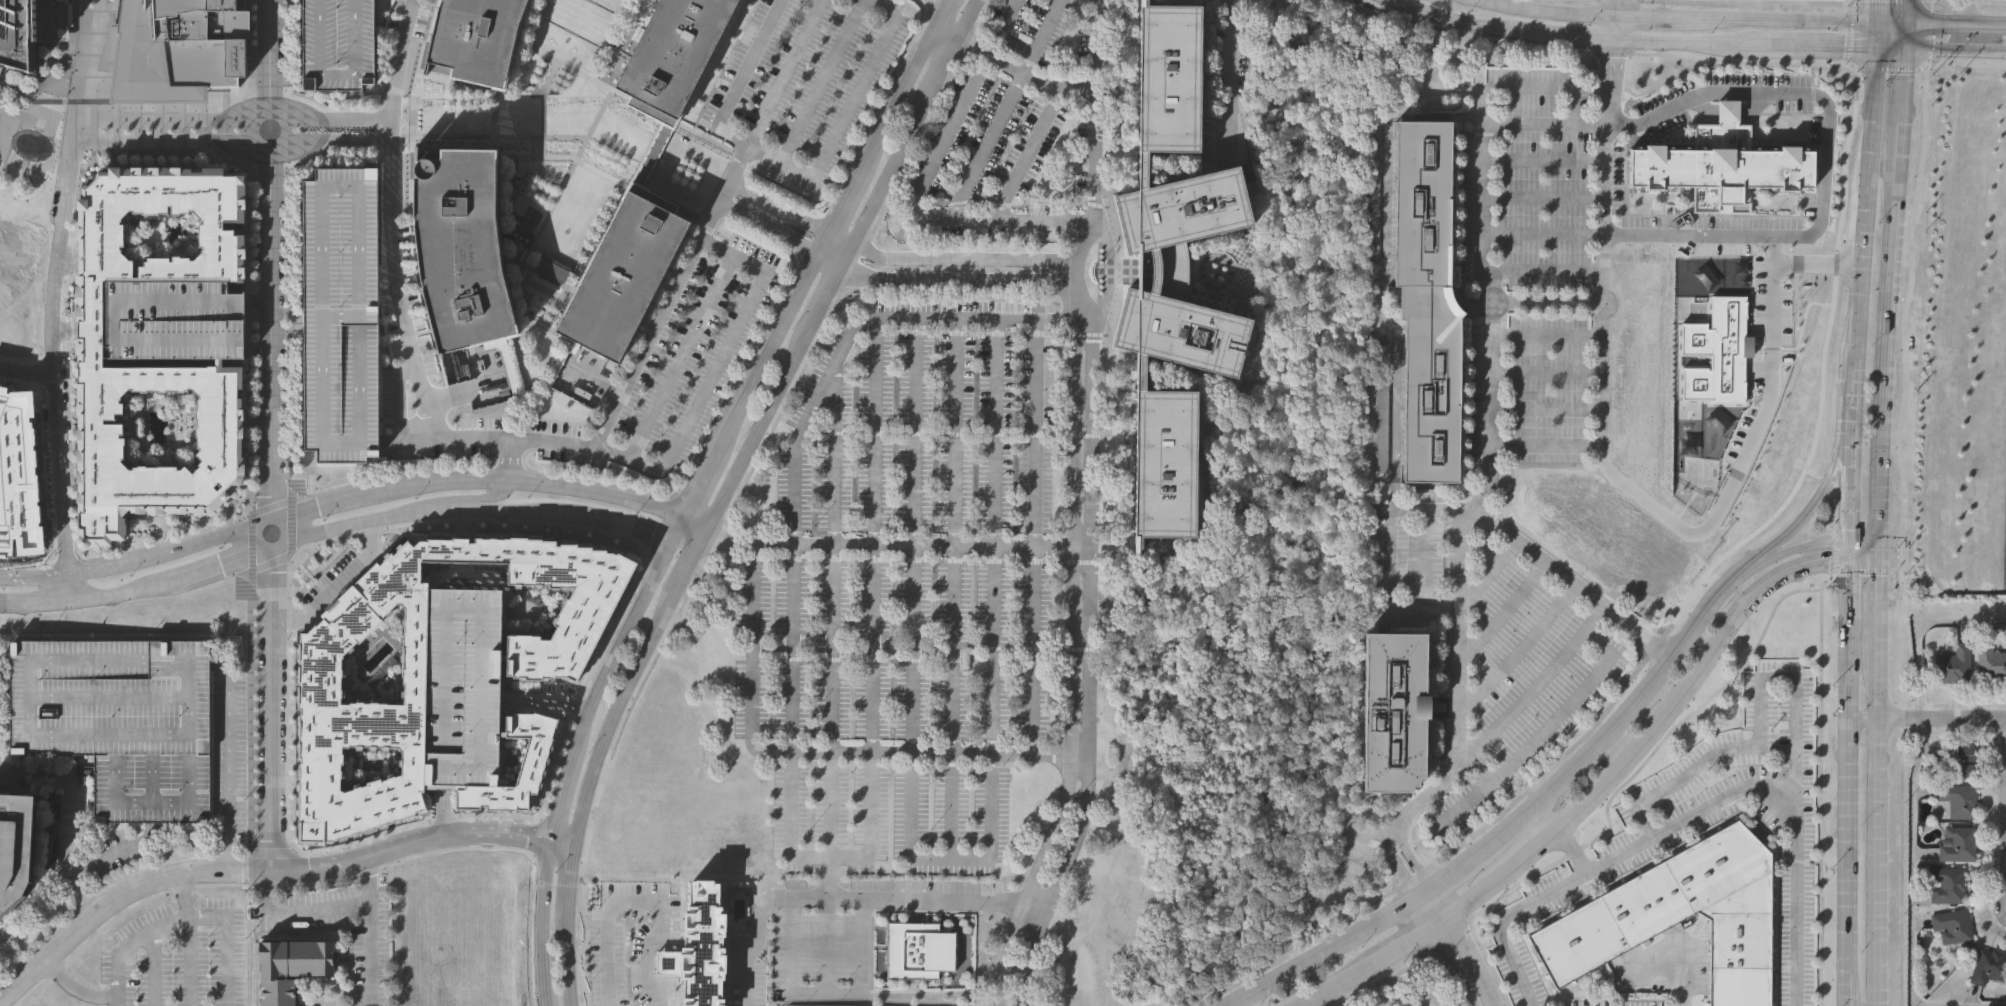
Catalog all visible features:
road: (1923, 1)
road: (939, 2)
road: (945, 2)
road: (1368, 3)
road: (1885, 3)
road: (1739, 4)
road: (620, 6)
road: (1379, 7)
road: (933, 8)
road: (1007, 9)
road: (1542, 10)
road: (1969, 11)
road: (1650, 16)
road: (982, 17)
road: (963, 19)
road: (1047, 20)
road: (1786, 20)
road: (1609, 21)
road: (1624, 21)
road: (948, 22)
road: (1457, 22)
traffic signals: (1877, 23)
traffic signals: (1901, 23)
road: (1941, 23)
road: (1876, 24)
building: (29, 29)
road: (608, 30)
road: (1915, 33)
road: (1853, 35)
building: (473, 38)
road: (522, 38)
road: (1570, 39)
road: (1008, 40)
building: (335, 43)
parking garage: (335, 43)
road: (1674, 43)
road: (1756, 46)
road: (248, 47)
road: (1828, 47)
building: (175, 49)
road: (966, 49)
traffic signals: (1876, 49)
road: (1888, 49)
traffic signals: (1900, 49)
road: (1953, 52)
building: (671, 53)
road: (1028, 56)
road: (1697, 57)
road: (553, 61)
road: (1886, 61)
road: (942, 63)
road: (84, 70)
road: (1021, 72)
road: (1229, 77)
building: (1168, 80)
road: (822, 82)
parking lot: (803, 83)
road: (1612, 85)
road: (396, 91)
road: (266, 94)
road: (294, 95)
road: (474, 96)
road: (40, 100)
road: (878, 114)
road: (236, 118)
road: (947, 128)
road: (540, 129)
road: (285, 130)
parking lot: (1009, 131)
road: (494, 135)
road: (173, 140)
road: (331, 140)
fountain: (31, 144)
road: (984, 144)
road: (251, 148)
road: (914, 152)
road: (1025, 153)
road: (392, 159)
road: (893, 164)
building: (1721, 165)
road: (803, 173)
road: (1605, 182)
road: (630, 187)
road: (1866, 188)
road: (80, 191)
road: (408, 195)
road: (778, 205)
road: (993, 219)
road: (767, 226)
road: (1724, 233)
road: (1543, 234)
road: (813, 235)
road: (841, 236)
building: (460, 248)
building: (1009, 248)
road: (690, 254)
road: (847, 255)
road: (598, 256)
road: (964, 257)
road: (828, 260)
road: (856, 262)
road: (1800, 266)
building: (552, 268)
building: (622, 270)
building: (1182, 270)
road: (397, 273)
road: (959, 279)
road: (288, 281)
road: (1888, 281)
road: (26, 289)
road: (826, 295)
building: (1428, 297)
road: (1542, 300)
road: (259, 304)
building: (340, 314)
parking garage: (340, 314)
building: (174, 320)
parking garage: (174, 320)
road: (852, 326)
road: (418, 331)
road: (1393, 339)
parking lot: (699, 348)
road: (54, 355)
building: (92, 357)
road: (680, 357)
road: (541, 367)
road: (711, 374)
road: (27, 378)
road: (1080, 378)
road: (595, 383)
road: (463, 387)
road: (400, 396)
road: (1481, 396)
road: (784, 406)
road: (518, 417)
road: (731, 417)
road: (513, 422)
road: (758, 428)
road: (272, 436)
road: (415, 438)
road: (704, 442)
building: (1165, 463)
road: (506, 471)
road: (1734, 474)
road: (1826, 474)
road: (385, 478)
road: (519, 480)
street lamp: (528, 495)
road: (352, 497)
street lamp: (414, 498)
road: (453, 499)
road: (271, 506)
street lamp: (635, 512)
road: (405, 514)
road: (678, 515)
street lamp: (322, 518)
road: (509, 519)
road: (619, 521)
road: (662, 524)
road: (291, 526)
road: (366, 530)
road: (912, 534)
road: (991, 534)
road: (1032, 534)
road: (688, 535)
road: (718, 539)
traffic signals: (1851, 539)
road: (1829, 540)
traffic signals: (1877, 540)
road: (252, 541)
road: (322, 542)
street lamp: (626, 543)
road: (746, 543)
road: (936, 544)
street lamp: (219, 546)
road: (160, 554)
street lamp: (673, 554)
road: (689, 560)
road: (271, 562)
traffic signals: (1851, 562)
traffic signals: (1877, 564)
road: (1753, 565)
road: (212, 567)
road: (1489, 572)
street lamp: (129, 573)
road: (287, 577)
road: (1572, 577)
road: (336, 584)
parking lot: (904, 585)
street lamp: (2, 586)
road: (70, 586)
road: (951, 587)
road: (107, 595)
road: (21, 603)
road: (830, 607)
road: (1501, 609)
road: (287, 615)
road: (1698, 617)
road: (615, 618)
road: (1919, 629)
street lamp: (253, 630)
road: (750, 642)
road: (1849, 645)
road: (1518, 649)
street lamp: (253, 654)
building: (377, 662)
building: (1953, 662)
building: (1991, 663)
road: (637, 667)
street lamp: (253, 678)
building: (464, 686)
parking garage: (464, 686)
road: (1532, 686)
building: (321, 692)
road: (545, 699)
street lamp: (253, 702)
road: (1566, 704)
road: (573, 705)
building: (1395, 707)
road: (1756, 714)
road: (1940, 718)
building: (120, 719)
parking garage: (120, 719)
road: (1859, 725)
street lamp: (253, 727)
street lamp: (253, 751)
street lamp: (586, 751)
road: (911, 751)
road: (227, 754)
road: (1646, 755)
road: (1582, 757)
building: (1960, 758)
building: (534, 763)
building: (370, 764)
road: (606, 770)
street lamp: (254, 775)
road: (868, 779)
road: (1874, 784)
road: (1600, 787)
road: (1753, 789)
road: (1476, 793)
road: (1818, 797)
street lamp: (254, 799)
road: (584, 799)
building: (1958, 799)
road: (541, 805)
road: (288, 809)
road: (441, 810)
road: (69, 815)
road: (537, 815)
road: (441, 818)
street lamp: (254, 824)
building: (24, 834)
road: (535, 835)
building: (1958, 844)
road: (449, 849)
road: (277, 852)
road: (242, 853)
road: (530, 856)
road: (1411, 856)
road: (105, 858)
road: (949, 858)
road: (1912, 861)
road: (1402, 862)
road: (1456, 869)
road: (268, 871)
street lamp: (553, 871)
road: (567, 873)
road: (826, 876)
road: (1026, 879)
road: (1055, 881)
street lamp: (347, 884)
building: (1947, 884)
road: (173, 890)
street lamp: (243, 890)
street lamp: (313, 890)
street lamp: (285, 892)
road: (1422, 894)
road: (184, 895)
road: (837, 898)
road: (637, 902)
road: (297, 912)
building: (1681, 914)
road: (185, 919)
road: (1504, 920)
road: (540, 924)
building: (1952, 925)
road: (370, 932)
road: (1444, 935)
building: (698, 943)
road: (824, 945)
road: (1465, 946)
building: (918, 950)
road: (1442, 952)
road: (569, 953)
road: (1320, 953)
parking lot: (820, 954)
parking lot: (177, 957)
road: (189, 962)
road: (1405, 963)
building: (289, 966)
building: (1988, 966)
road: (153, 967)
street lamp: (556, 983)
road: (1848, 984)
road: (75, 988)
road: (823, 993)
road: (1322, 999)

